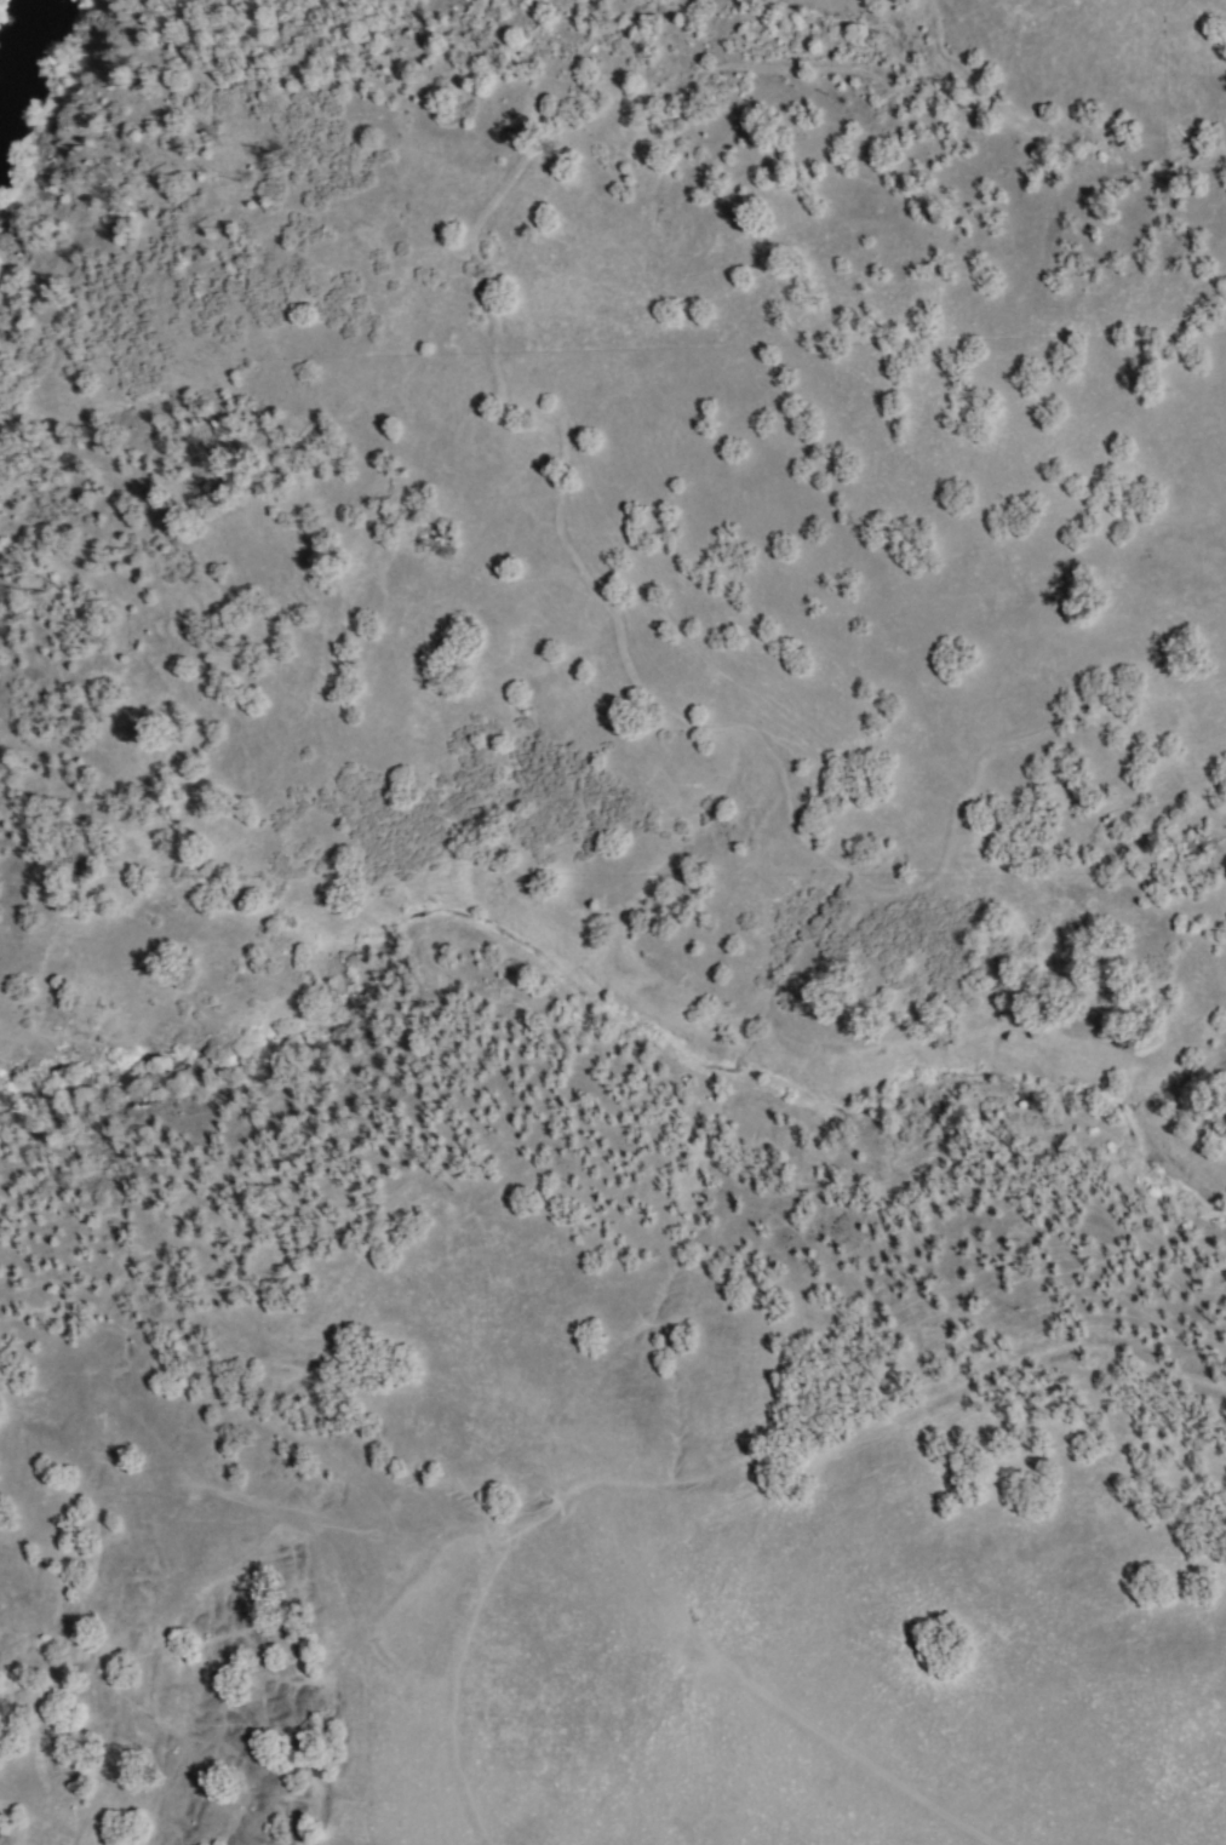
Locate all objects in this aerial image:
river: (8, 34)

